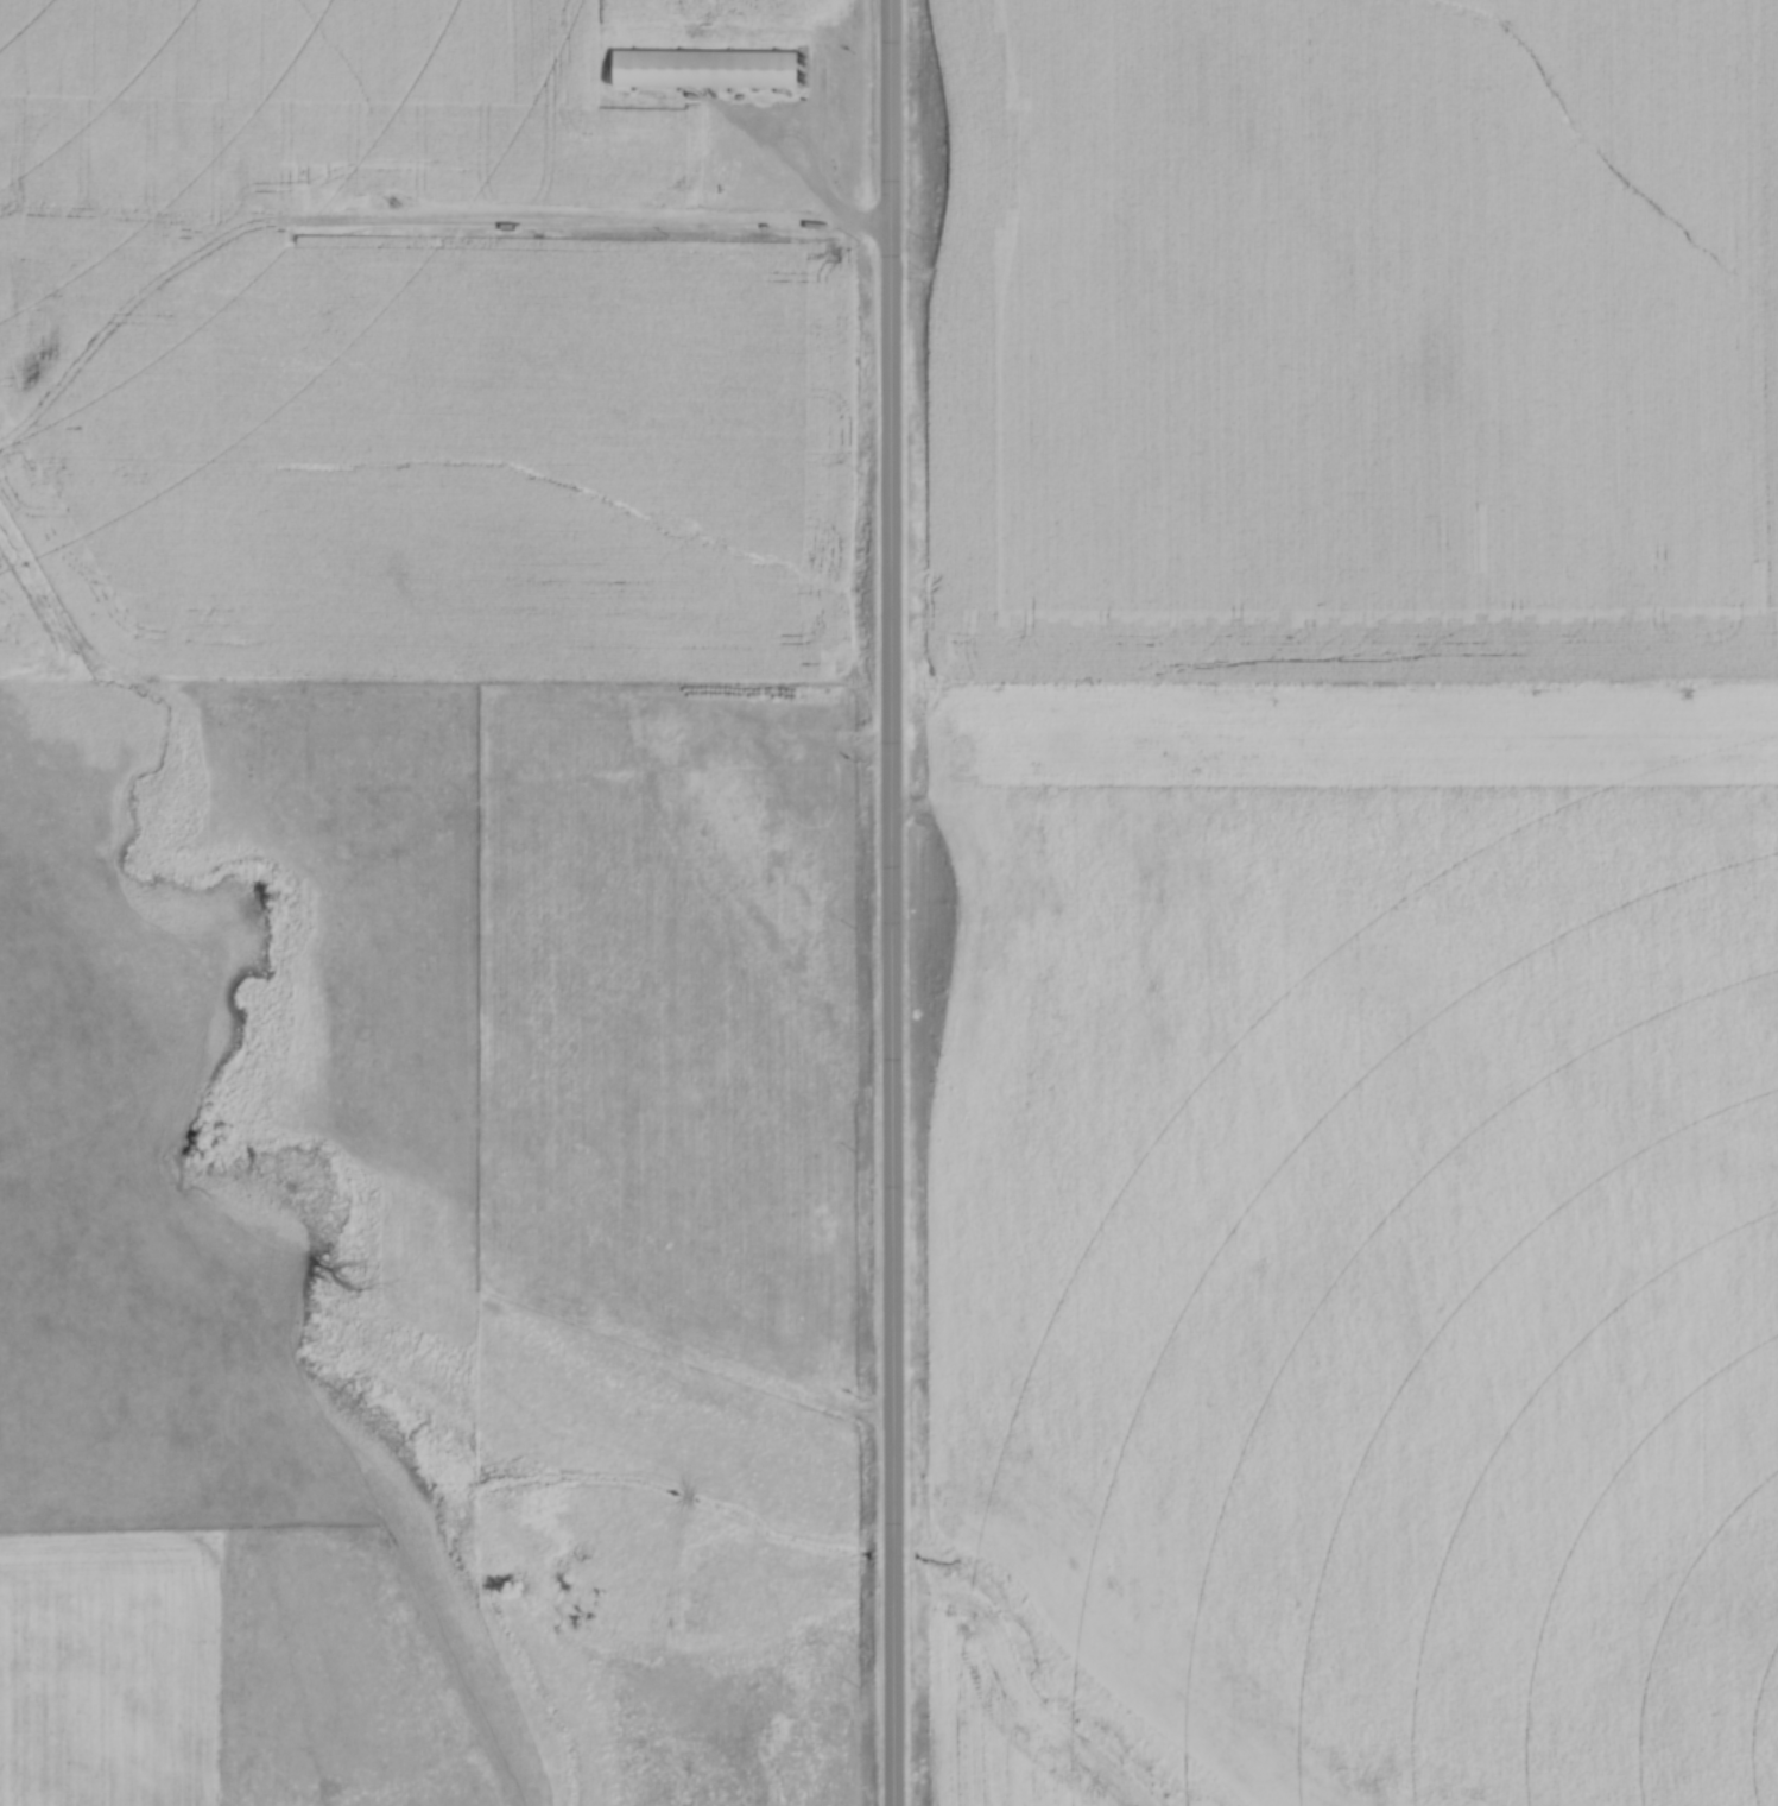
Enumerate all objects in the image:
building: (705, 68)
building: (234, 133)
building: (80, 162)
road: (891, 903)
crop: (1001, 1729)

